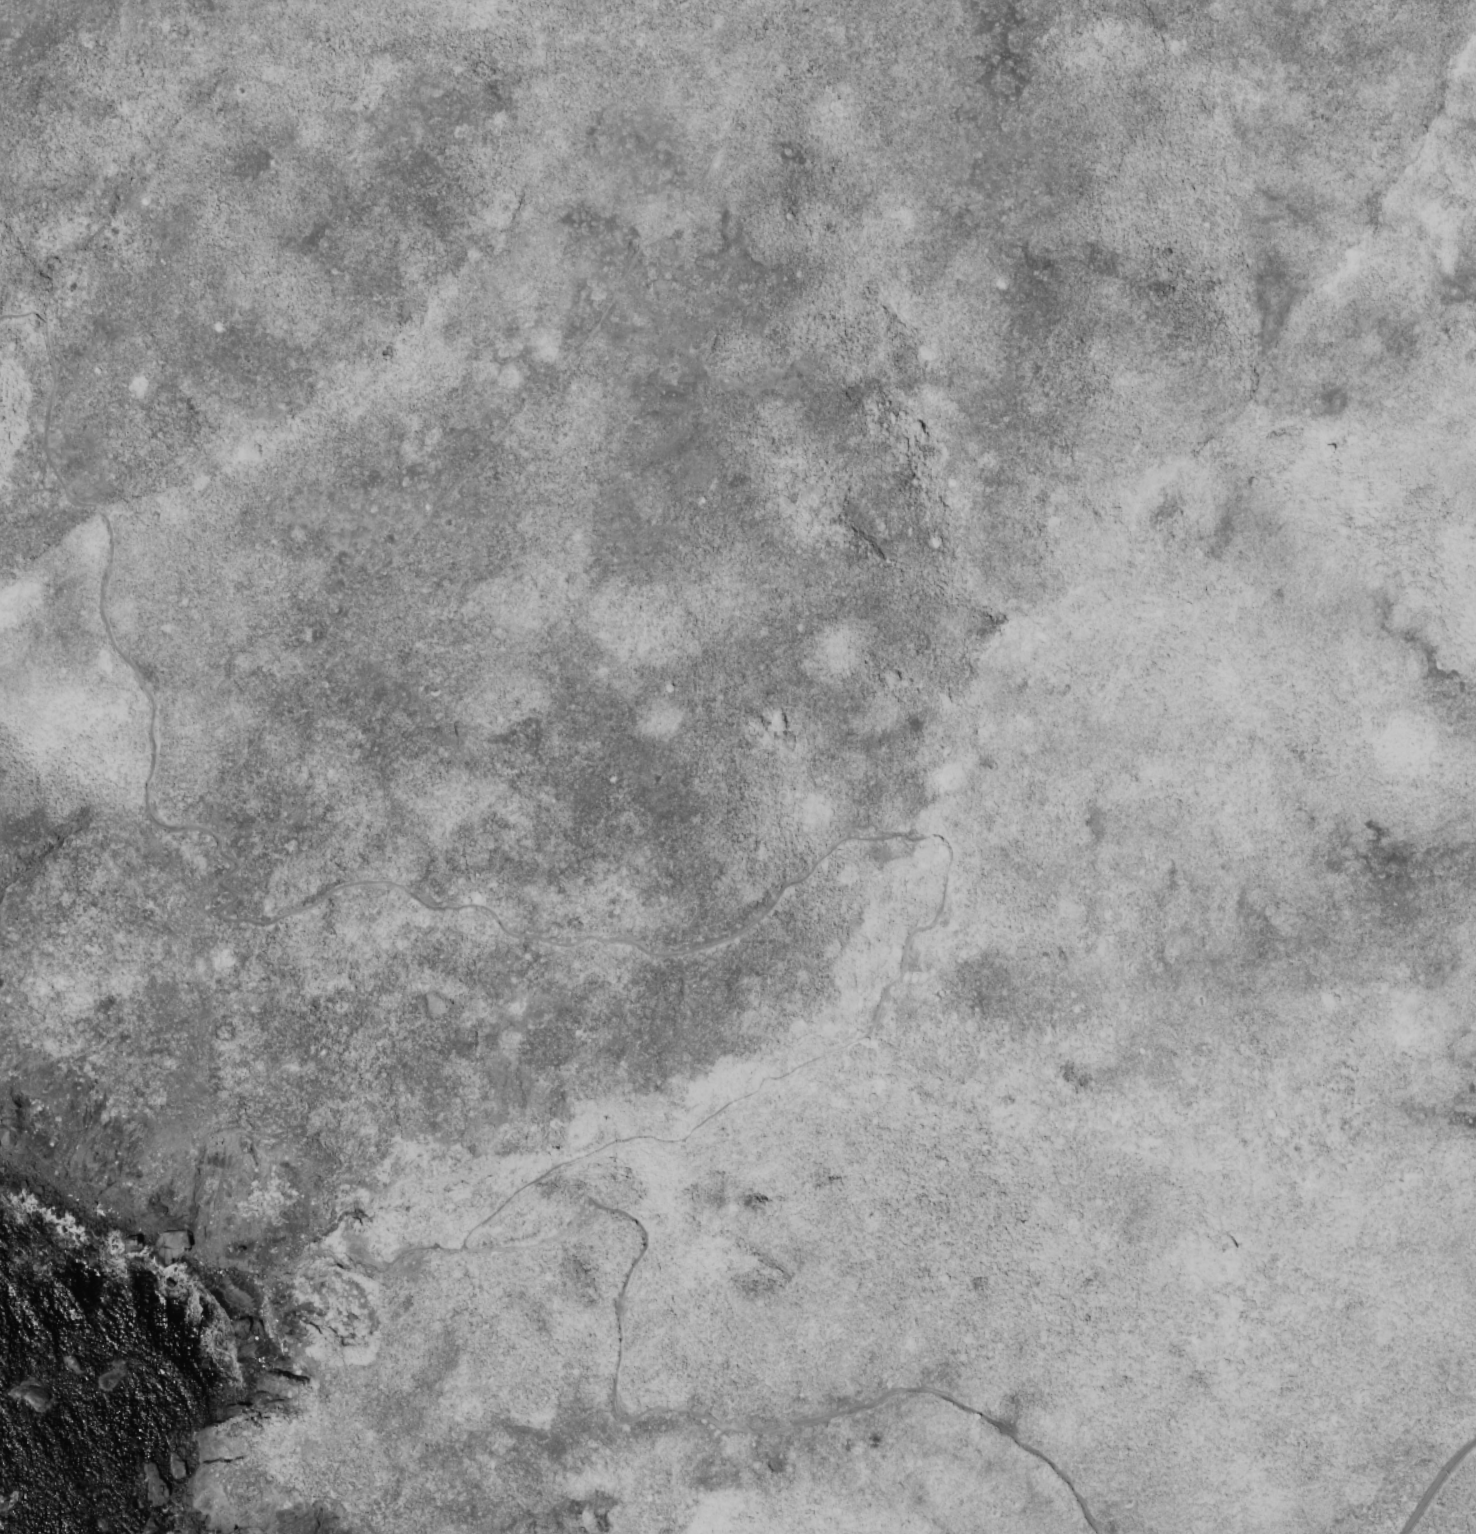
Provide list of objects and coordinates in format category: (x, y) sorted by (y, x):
road: (15, 314)
road: (38, 316)
road: (43, 426)
road: (97, 510)
road: (680, 953)
road: (392, 1256)
road: (300, 1259)
road: (617, 1307)
road: (916, 1389)
road: (1437, 1486)

